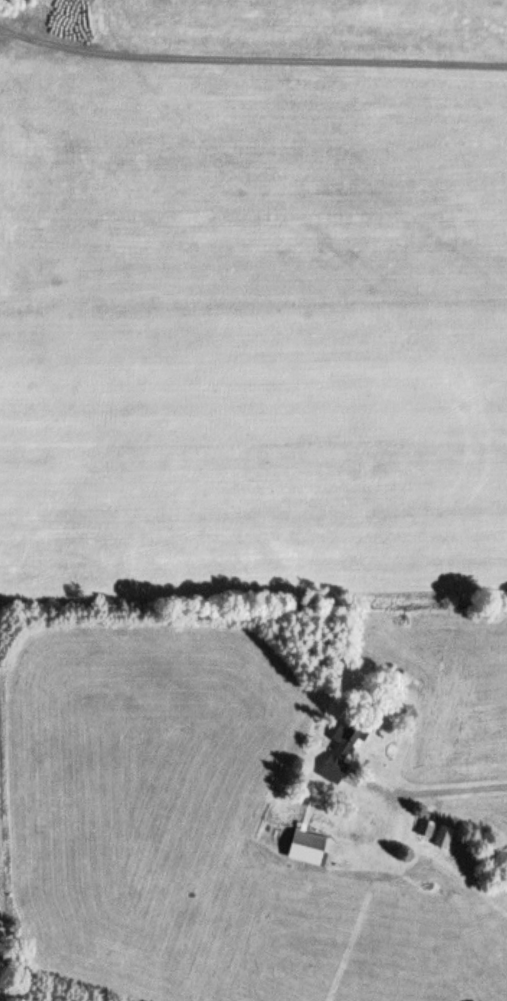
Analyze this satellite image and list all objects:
building: (337, 763)
building: (311, 845)
building: (443, 845)

